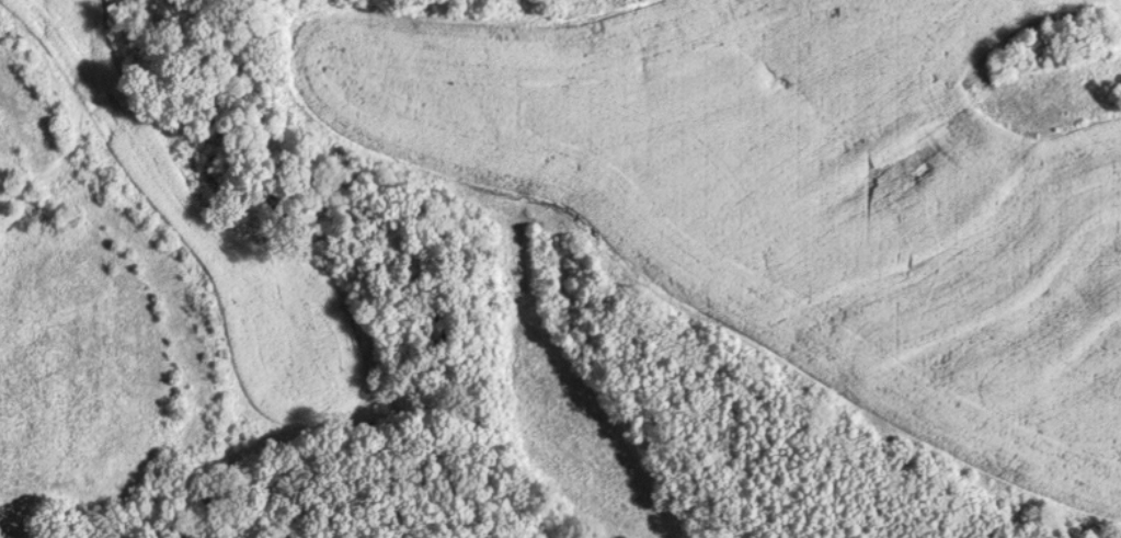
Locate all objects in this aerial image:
road: (70, 119)

